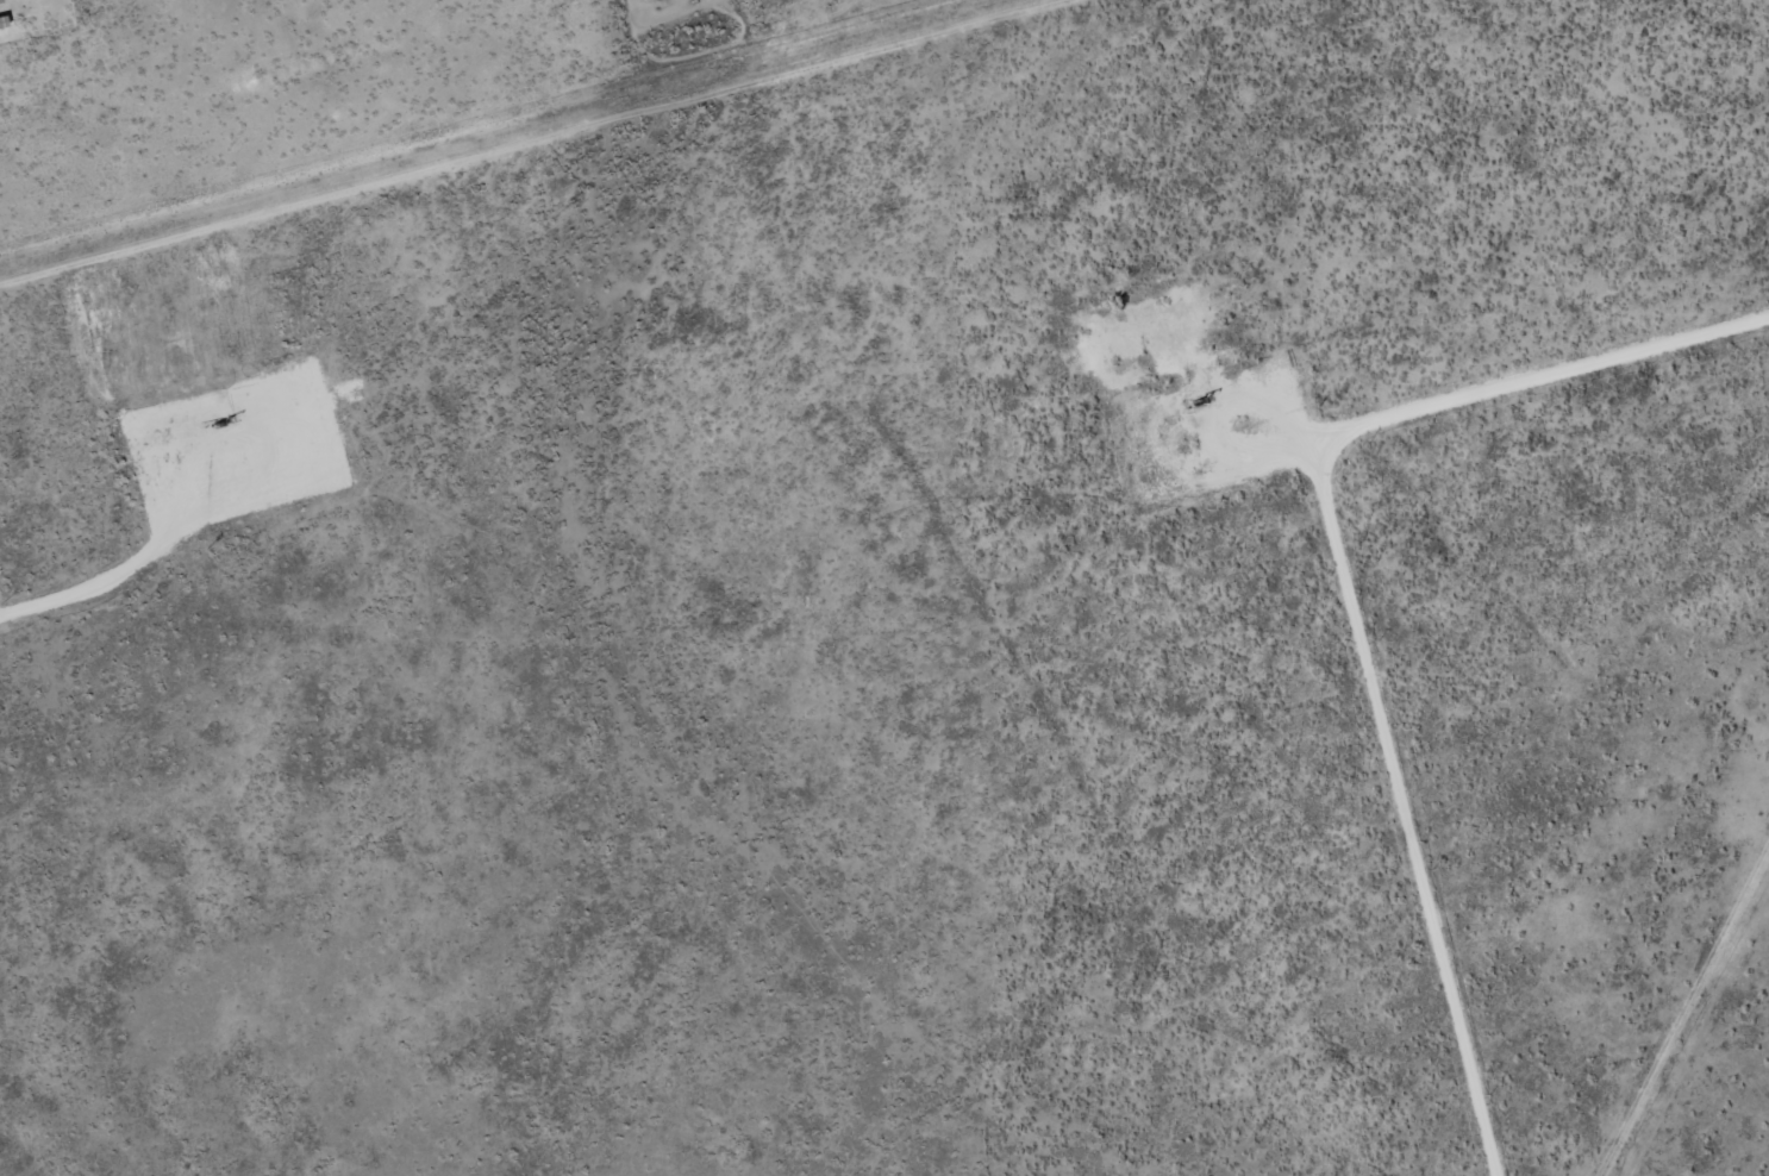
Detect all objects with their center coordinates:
building: (0, 2)

